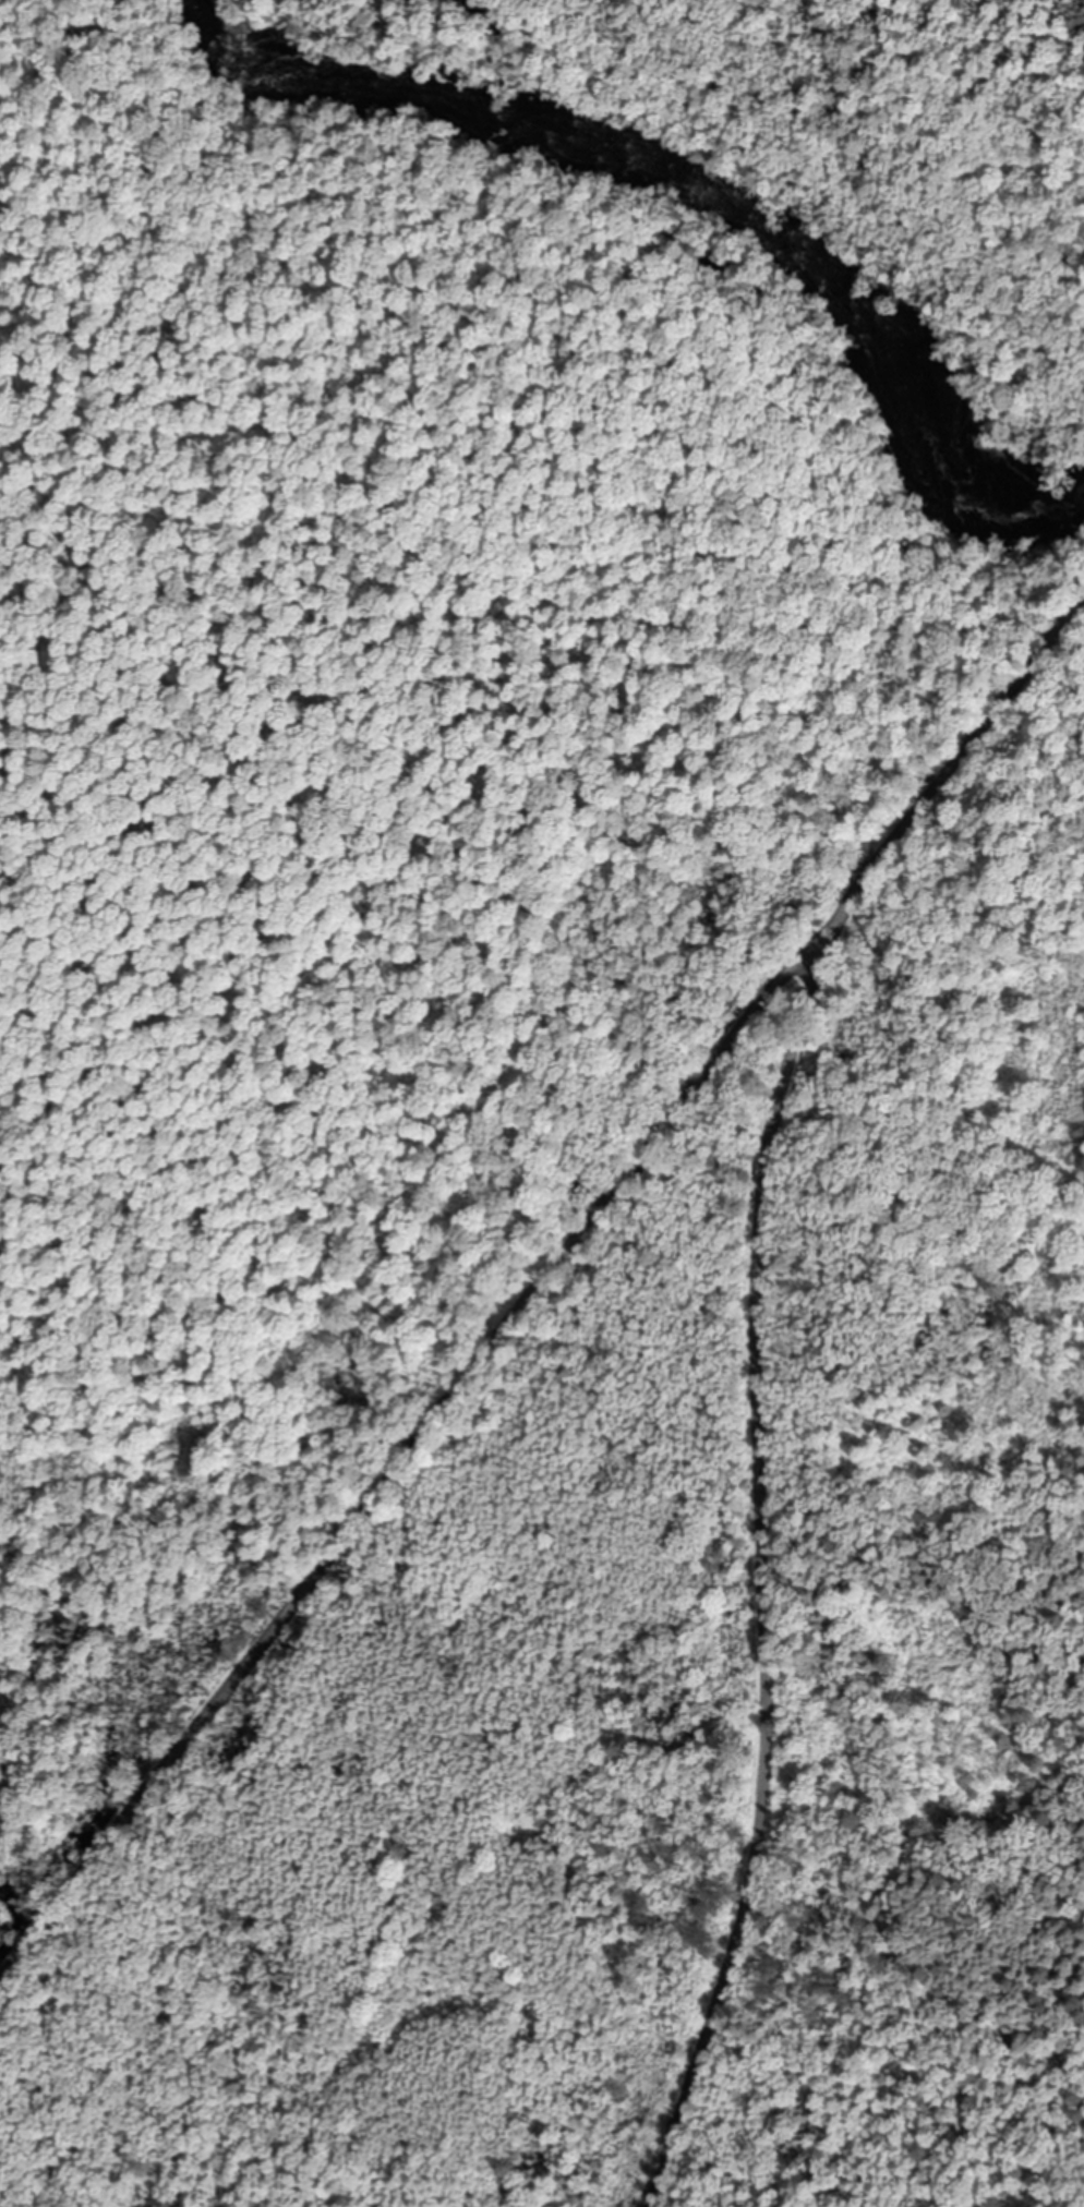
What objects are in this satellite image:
river: (694, 184)
road: (756, 1362)
road: (410, 1451)

